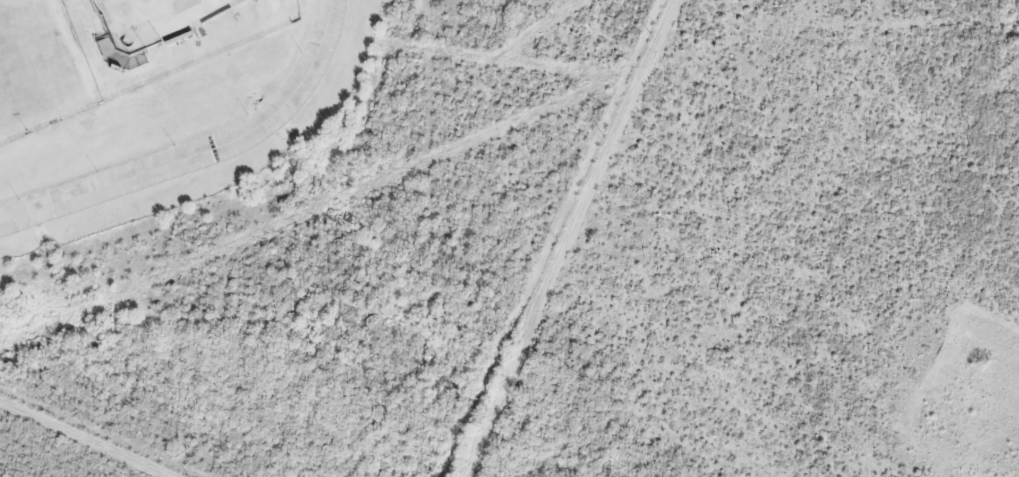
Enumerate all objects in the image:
stadium: (151, 19)
park: (31, 64)
road: (201, 152)

